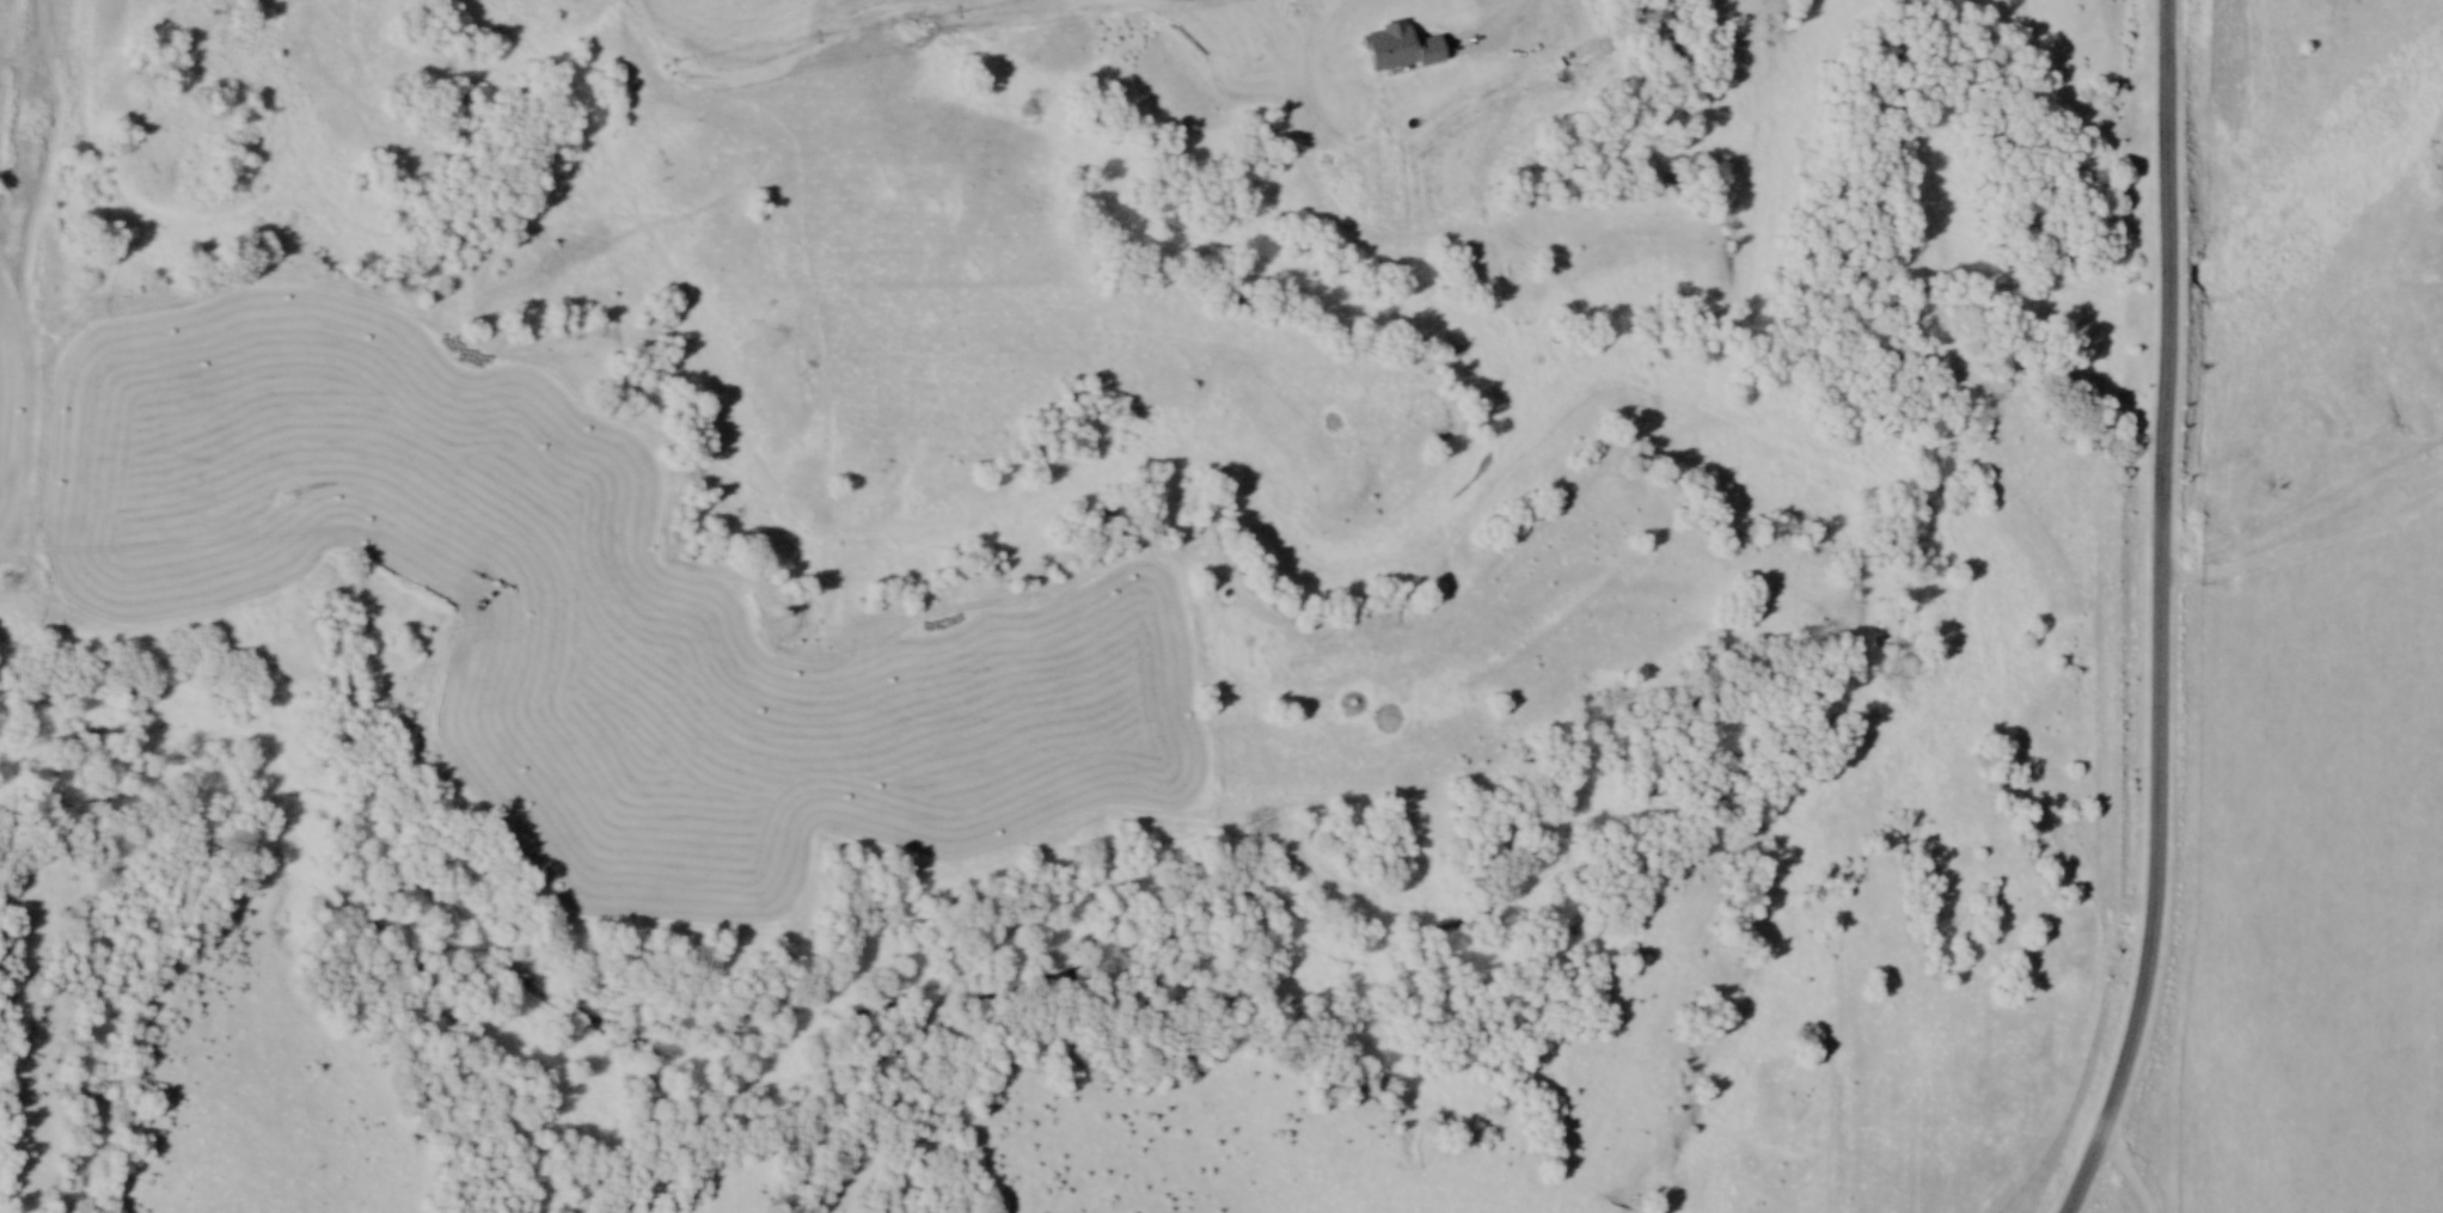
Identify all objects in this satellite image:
power tower: (288, 497)
road: (2159, 613)

